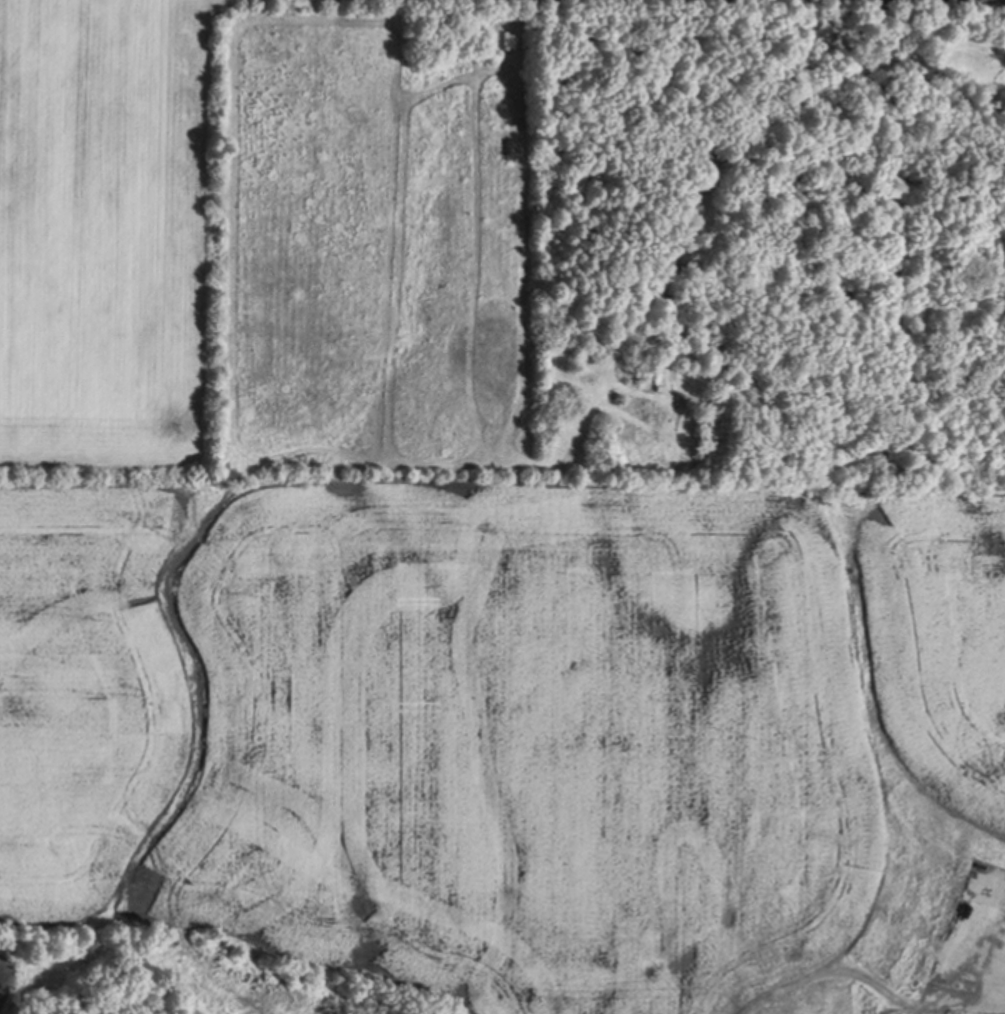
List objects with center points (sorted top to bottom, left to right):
building: (667, 408)
road: (957, 994)

